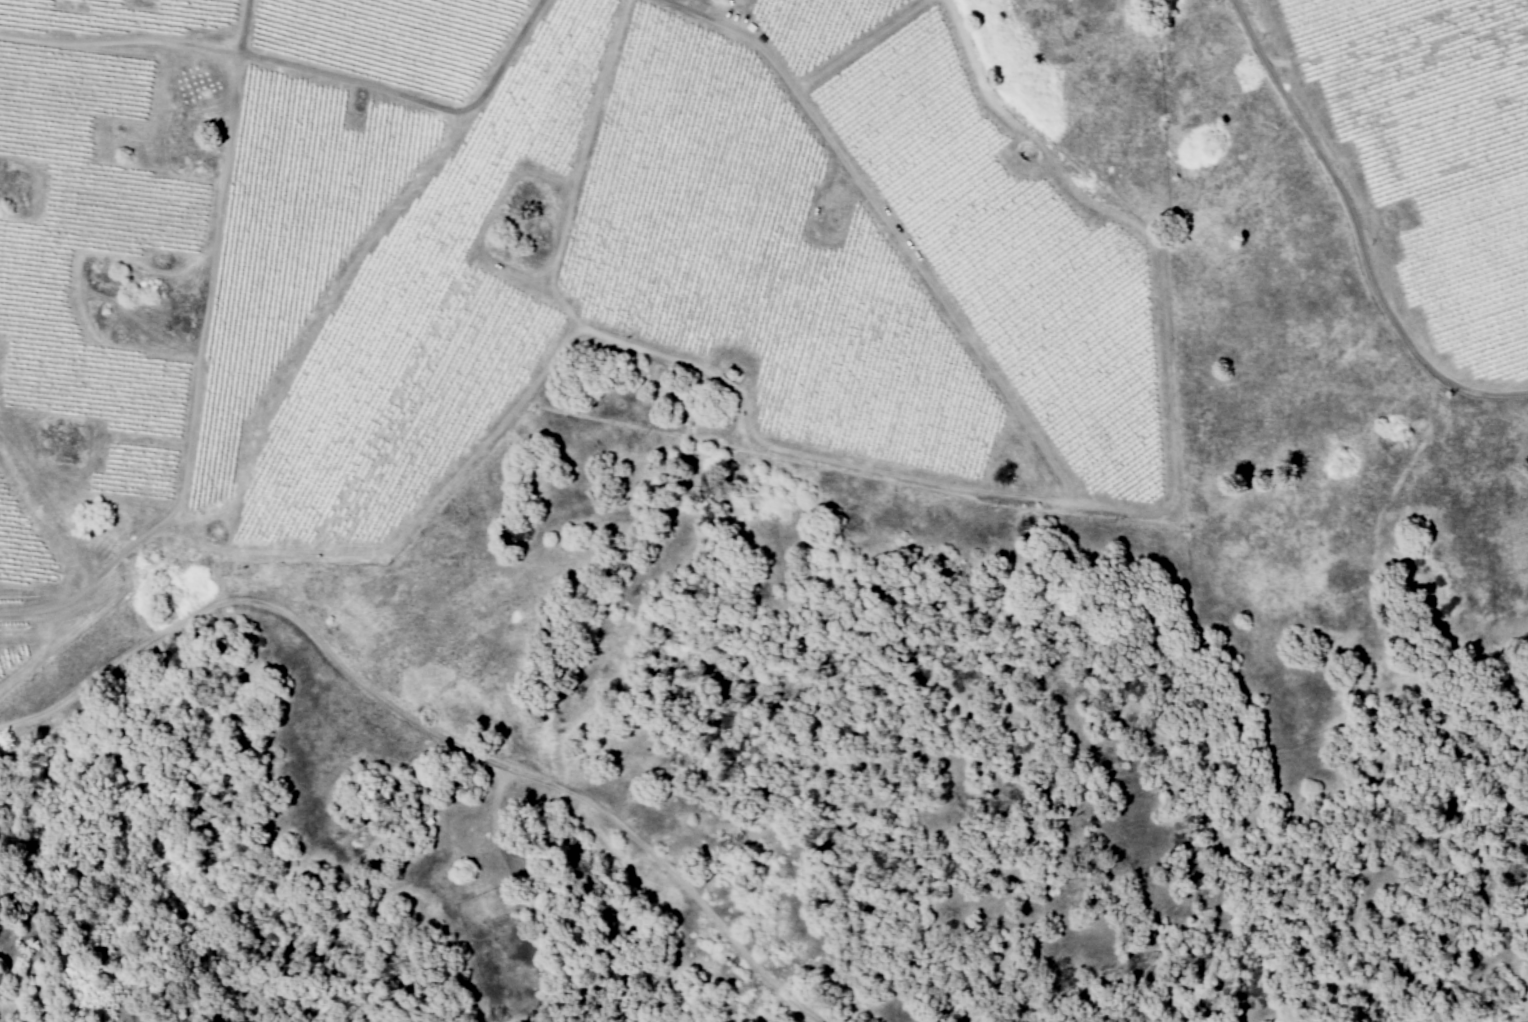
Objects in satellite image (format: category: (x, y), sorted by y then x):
road: (1357, 232)
crop: (98, 278)
road: (422, 727)
road: (1521, 1015)

